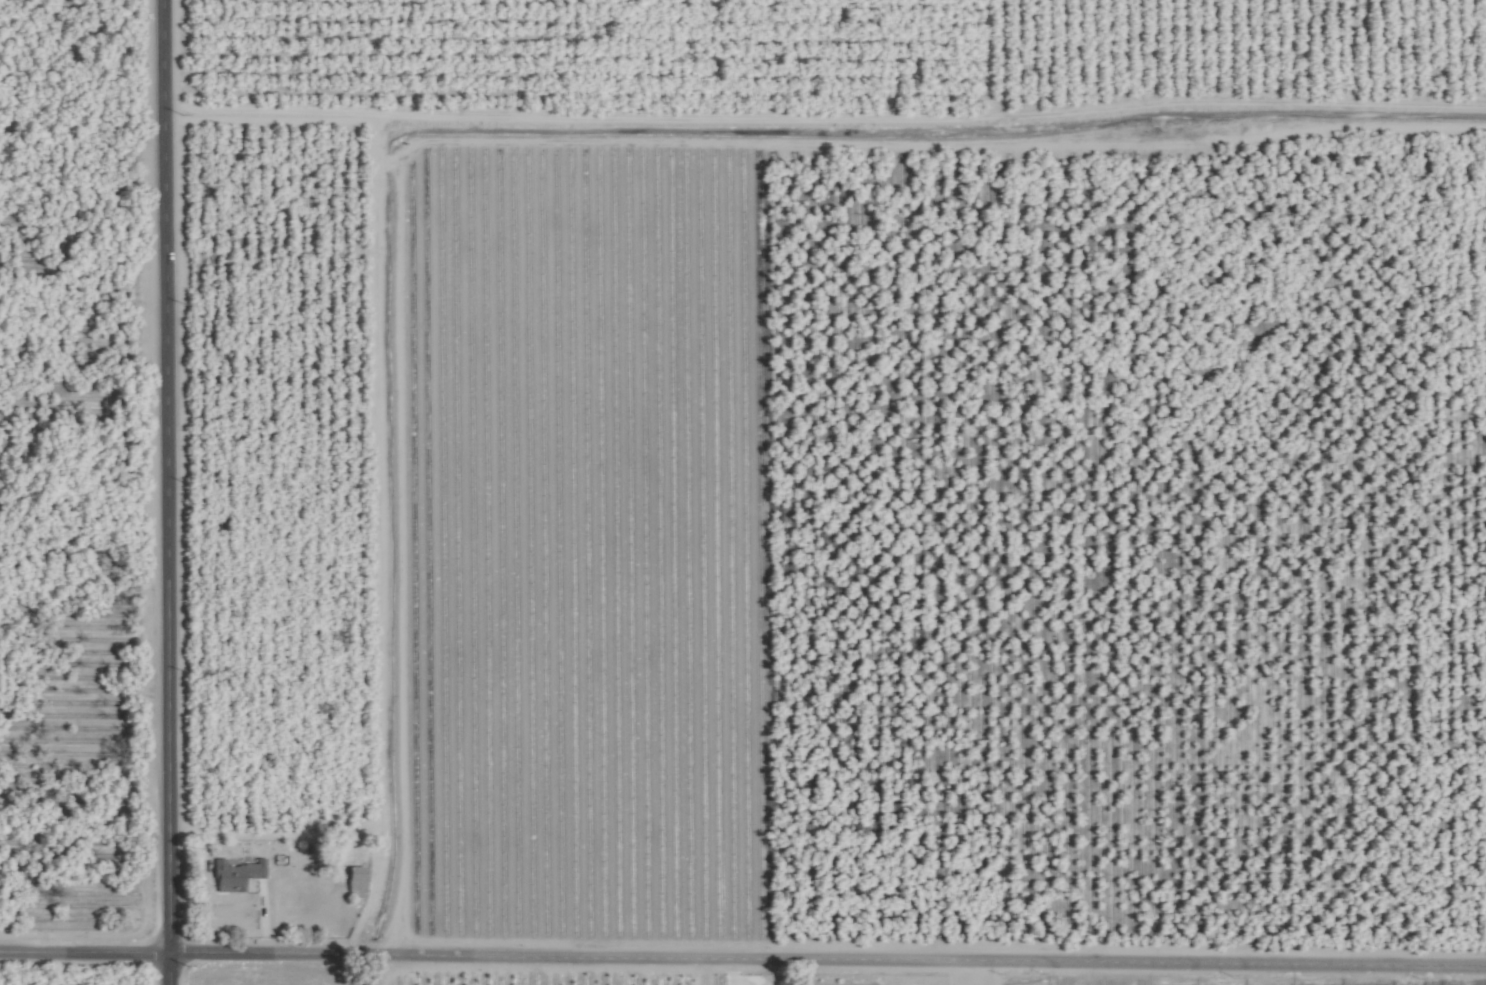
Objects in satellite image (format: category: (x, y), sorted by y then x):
road: (167, 492)
crop: (743, 492)
building: (235, 874)
building: (354, 882)
road: (262, 915)
road: (743, 953)

